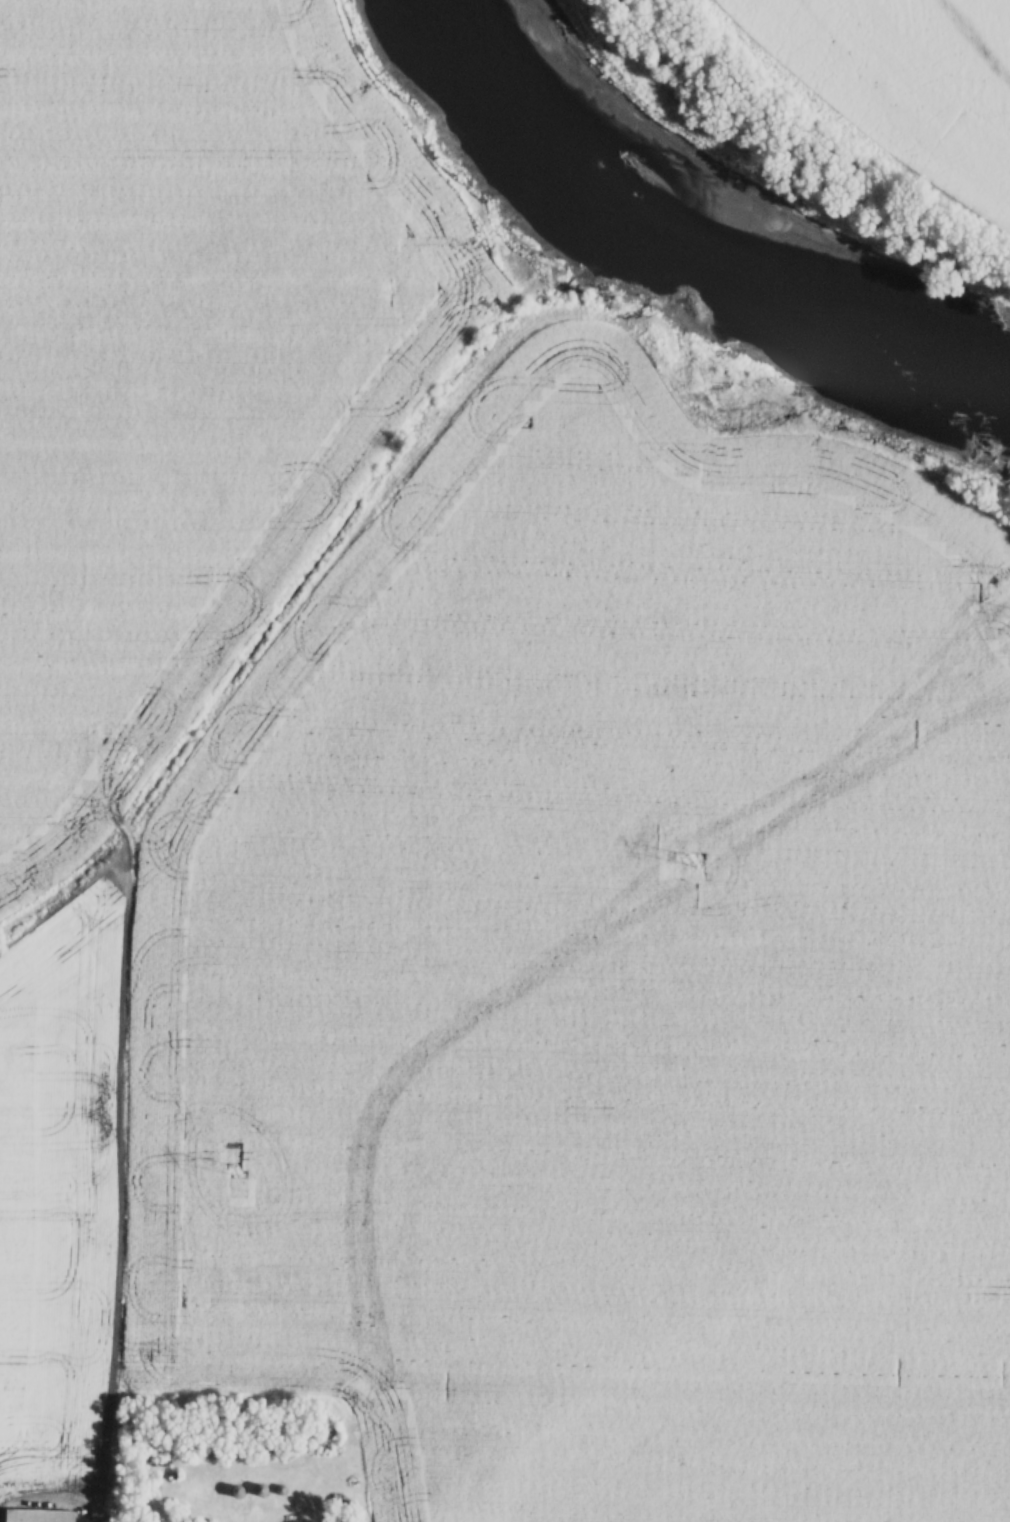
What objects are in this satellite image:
river: (736, 213)
power tower: (691, 858)
power tower: (237, 1171)

